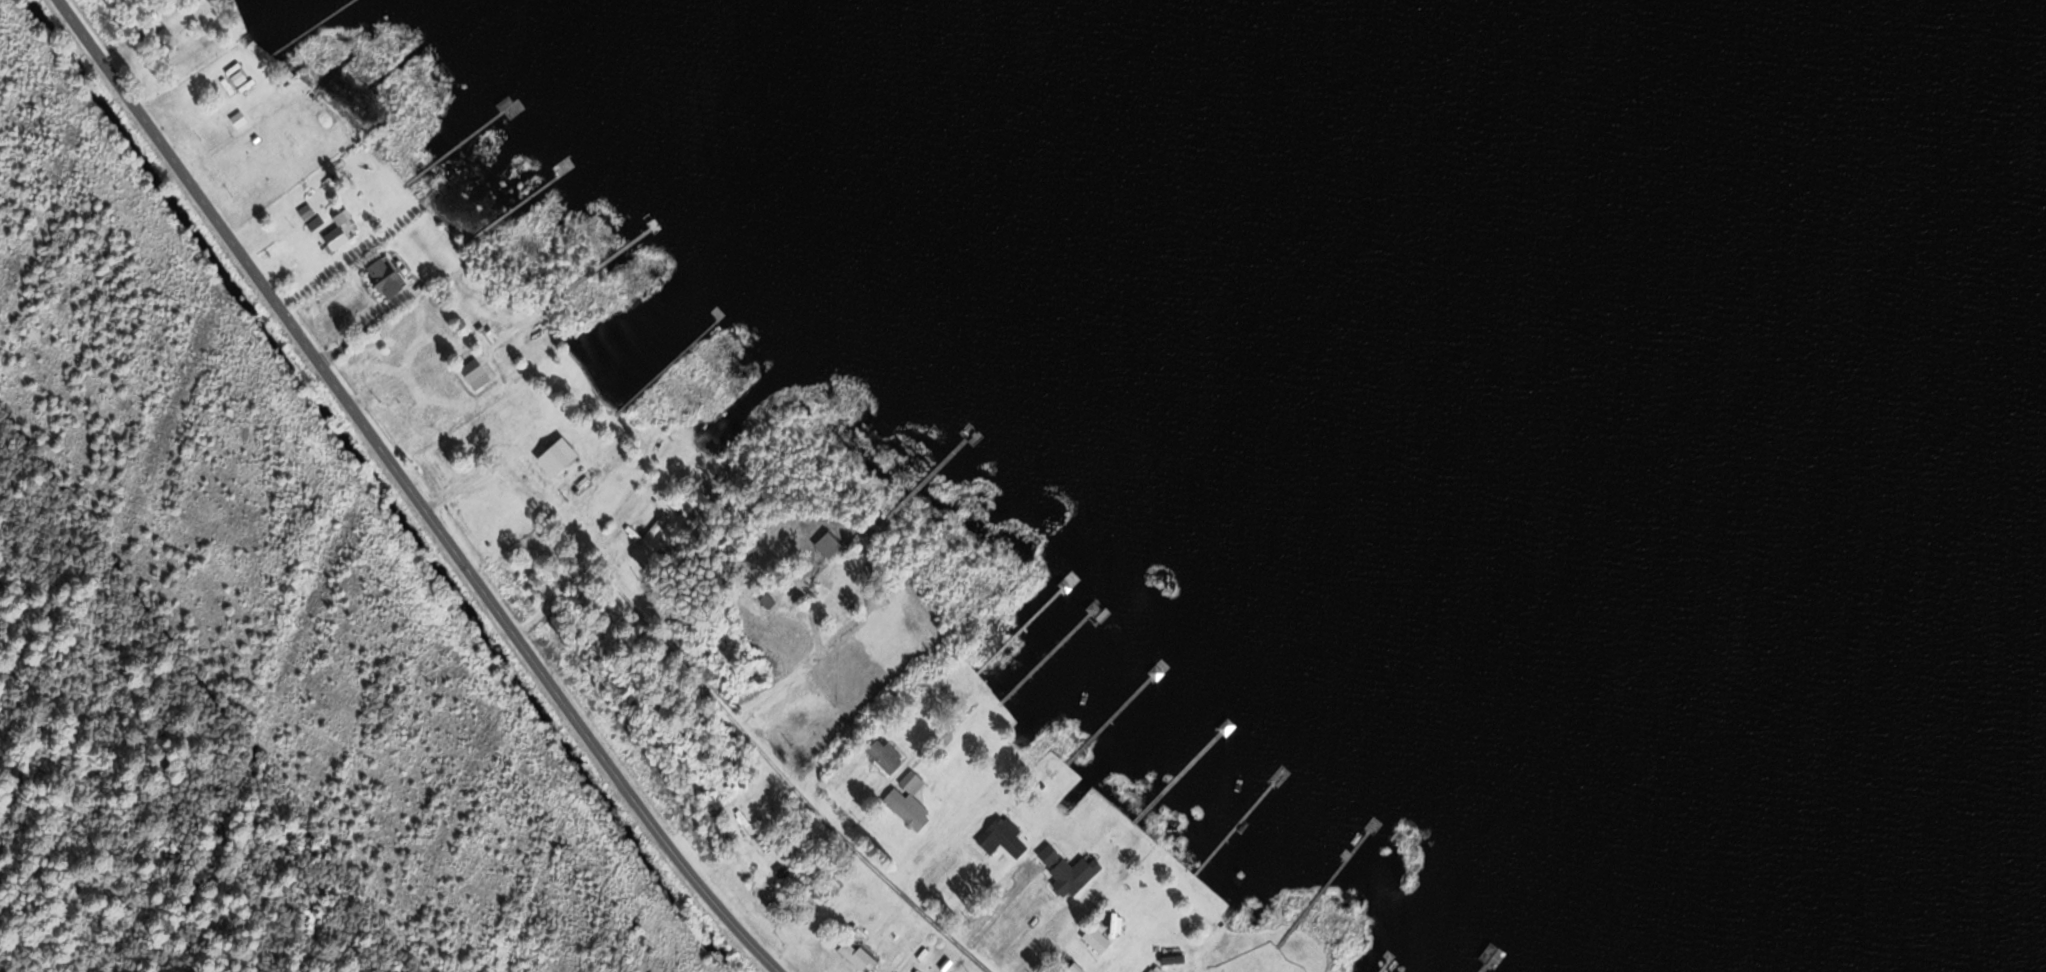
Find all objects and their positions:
pier: (309, 23)
building: (508, 106)
pier: (457, 140)
pier: (514, 202)
building: (304, 212)
building: (339, 218)
building: (313, 223)
building: (333, 242)
pier: (593, 265)
building: (378, 279)
pier: (667, 361)
building: (472, 375)
building: (552, 455)
pier: (922, 478)
road: (413, 492)
road: (856, 528)
building: (654, 529)
building: (824, 544)
building: (765, 601)
building: (1091, 610)
pier: (1018, 626)
pier: (1046, 653)
road: (688, 670)
pier: (1111, 712)
building: (882, 755)
pier: (1179, 770)
building: (905, 801)
pier: (1236, 821)
building: (1371, 824)
building: (1006, 837)
building: (1064, 877)
pier: (1324, 879)
road: (890, 882)
building: (825, 894)
building: (1094, 940)
building: (1489, 951)
building: (855, 955)
pier: (1381, 963)
pier: (1484, 963)
building: (1148, 969)
building: (1152, 969)

